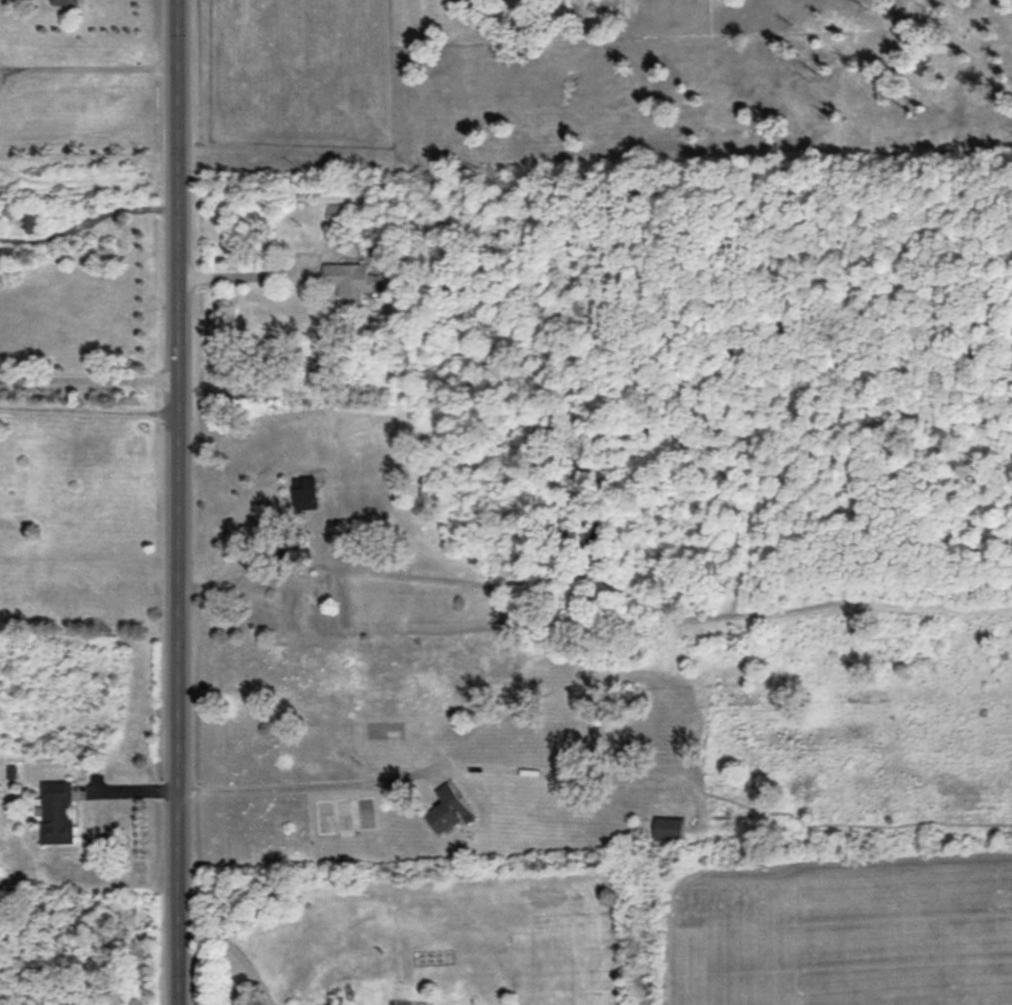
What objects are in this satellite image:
building: (65, 2)
road: (92, 68)
road: (104, 214)
building: (338, 215)
building: (33, 221)
road: (240, 275)
building: (350, 281)
road: (88, 378)
road: (88, 410)
building: (306, 493)
road: (178, 502)
building: (298, 553)
road: (307, 786)
building: (448, 809)
building: (58, 813)
building: (669, 829)
road: (235, 952)

